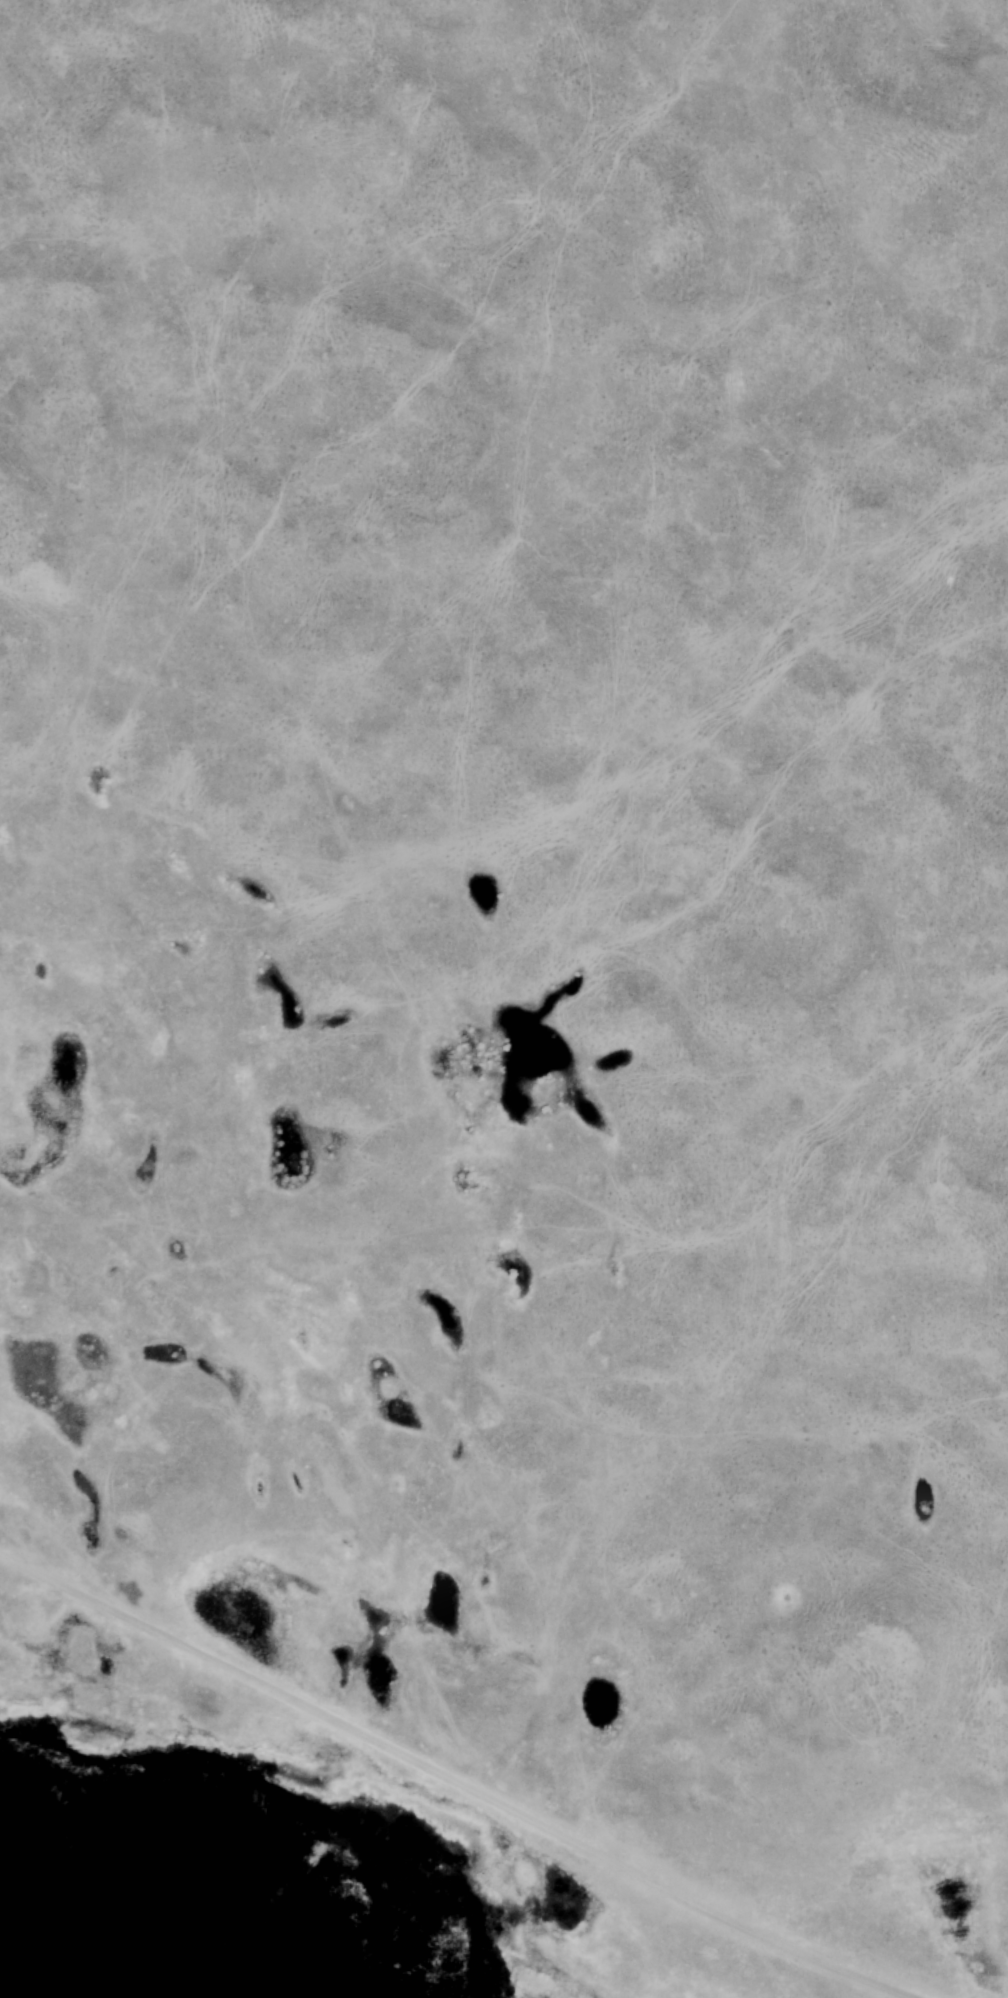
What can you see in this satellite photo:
road: (462, 1780)

